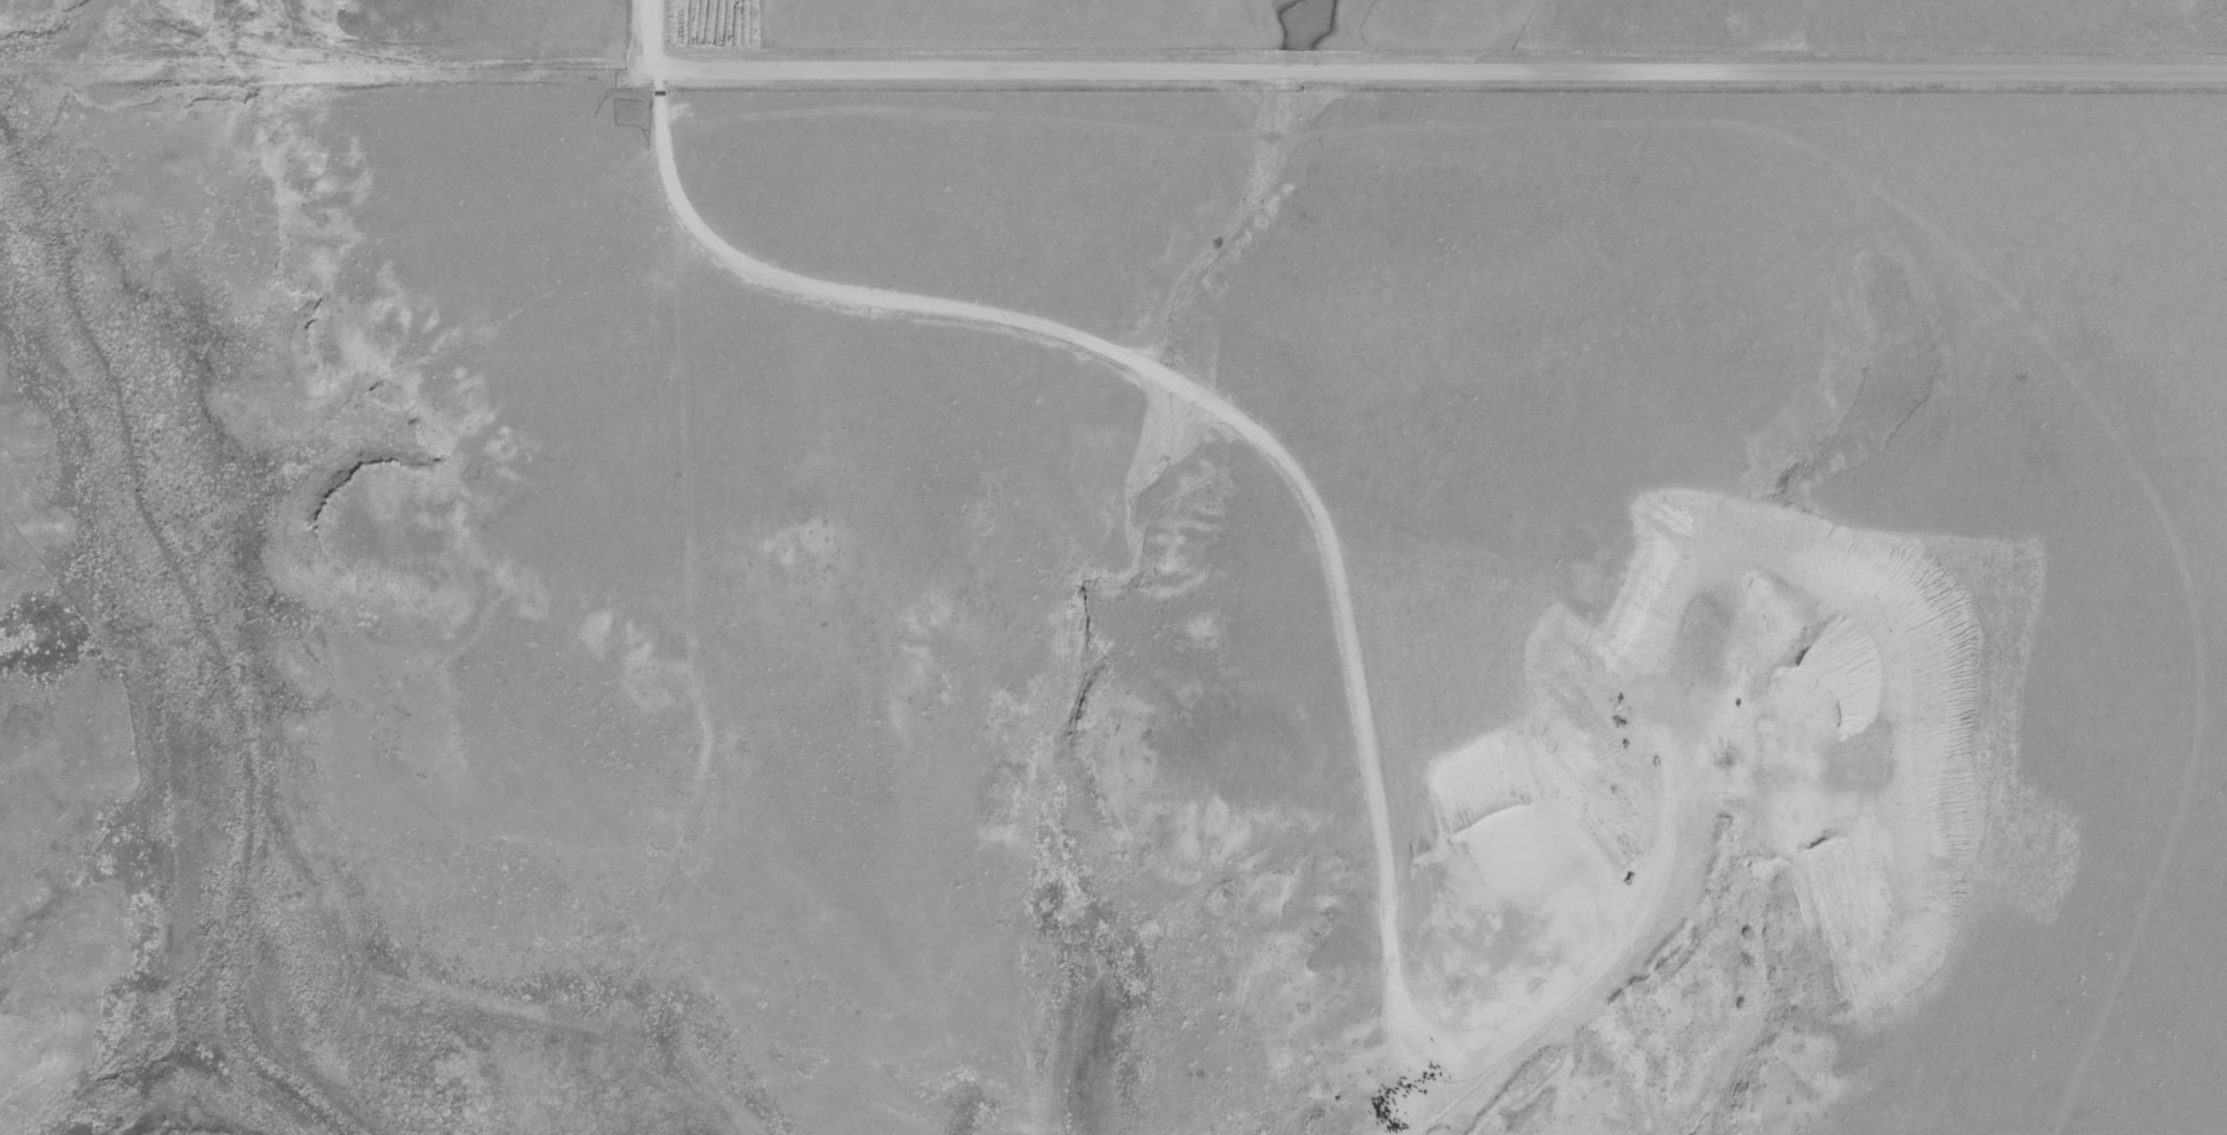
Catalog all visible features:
road: (659, 32)
road: (1112, 67)

